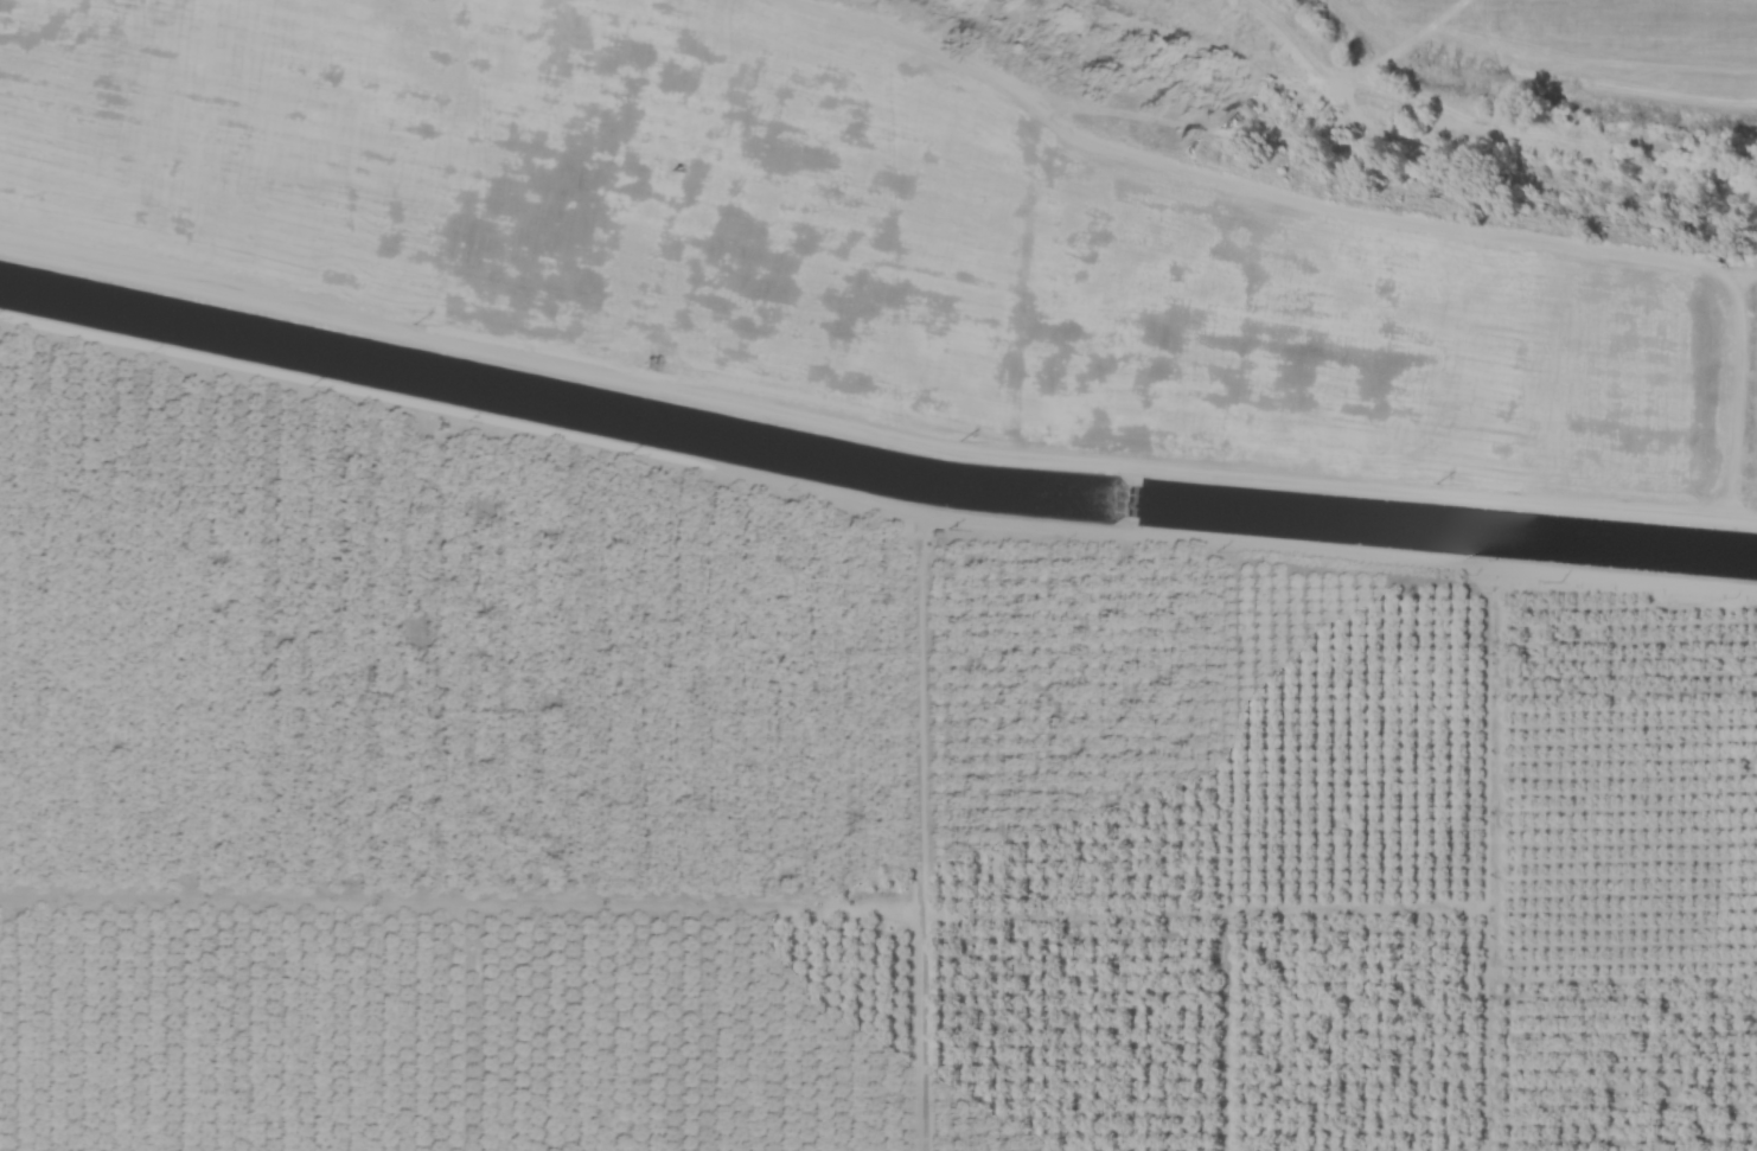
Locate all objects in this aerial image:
crop: (1566, 56)
crop: (1229, 165)

